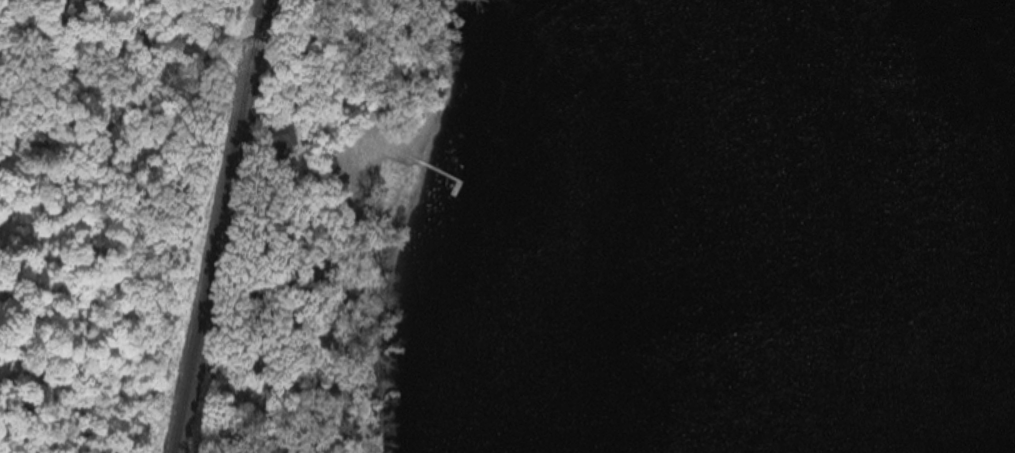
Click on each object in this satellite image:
park: (131, 19)
railway: (219, 226)

